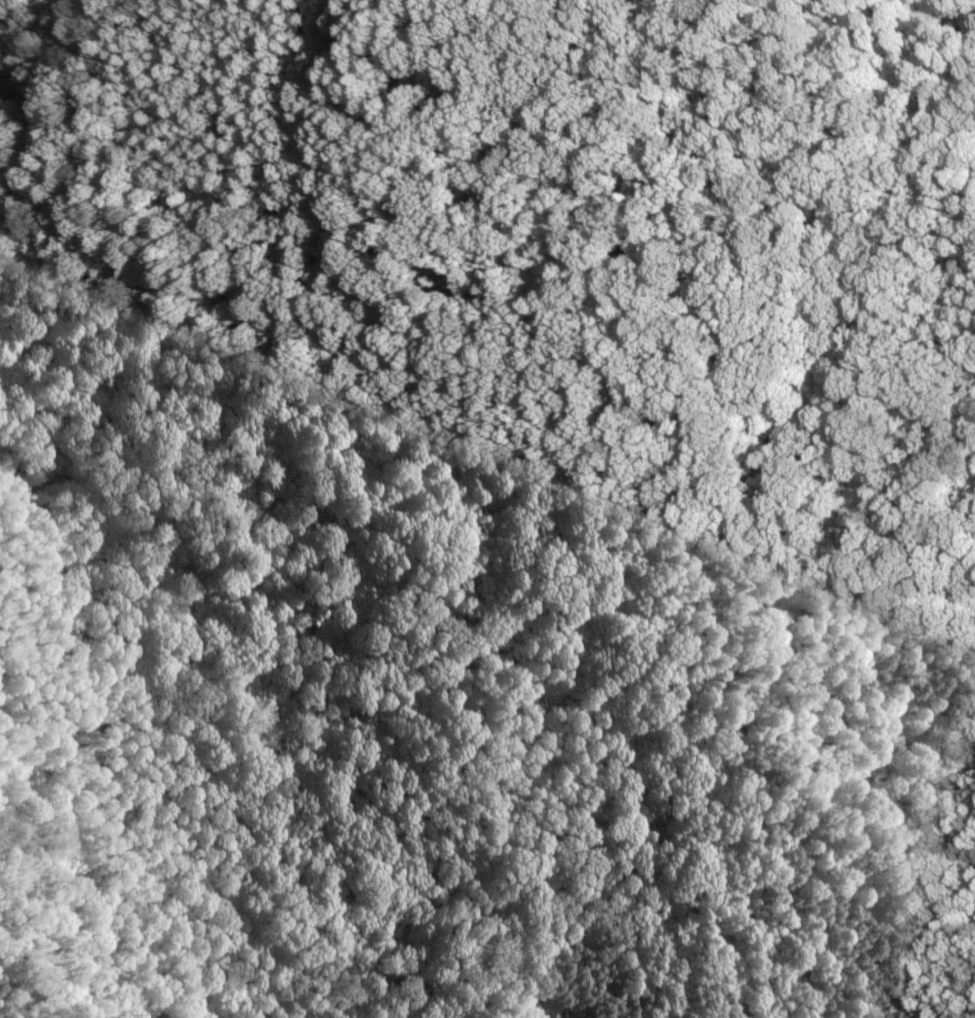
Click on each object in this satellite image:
road: (11, 397)

